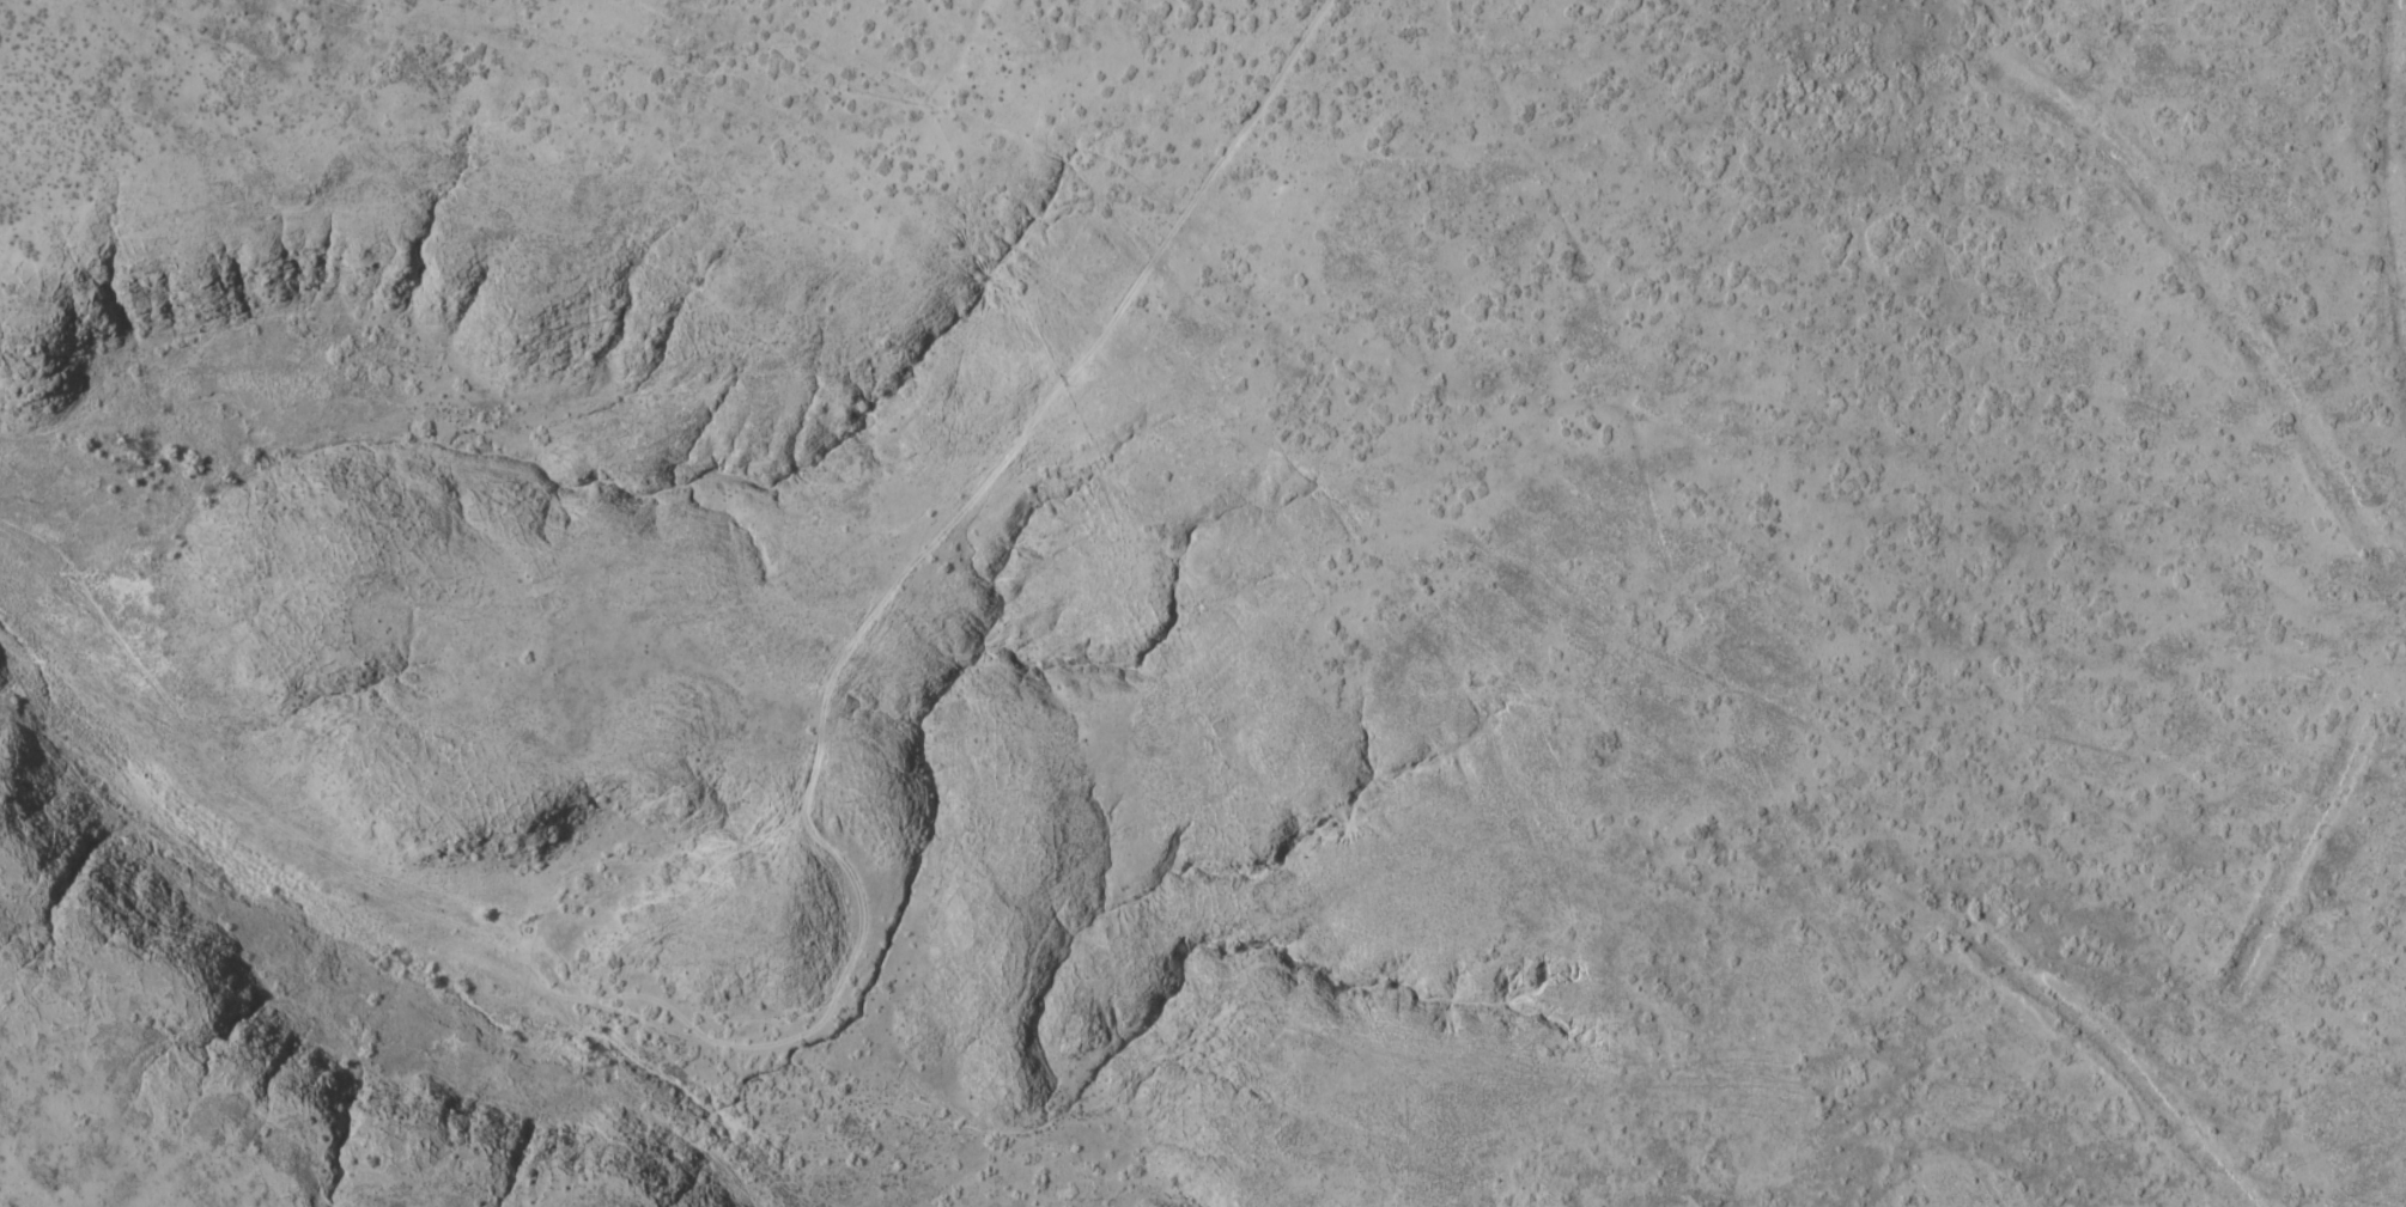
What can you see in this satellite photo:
road: (788, 852)

